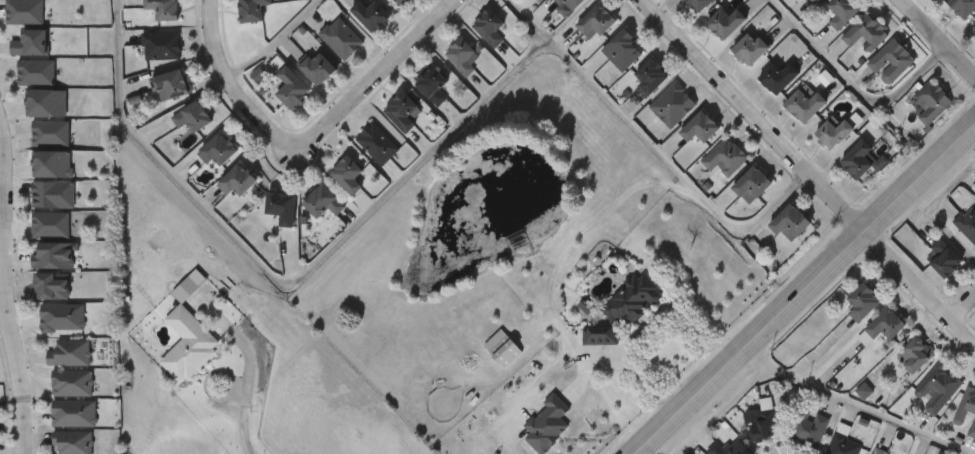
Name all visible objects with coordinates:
building: (401, 1)
building: (654, 1)
building: (811, 1)
building: (143, 2)
building: (526, 3)
building: (107, 4)
building: (702, 4)
building: (570, 5)
building: (961, 7)
building: (164, 9)
building: (252, 9)
building: (22, 10)
building: (842, 11)
building: (371, 13)
building: (683, 14)
building: (552, 15)
building: (235, 22)
building: (598, 22)
building: (727, 22)
building: (145, 23)
building: (491, 26)
building: (12, 28)
building: (864, 31)
building: (973, 35)
road: (936, 36)
building: (340, 37)
road: (269, 39)
building: (578, 39)
building: (707, 40)
building: (32, 44)
building: (160, 44)
building: (471, 44)
building: (752, 48)
building: (624, 50)
building: (462, 54)
building: (16, 59)
building: (890, 59)
building: (143, 62)
building: (318, 66)
building: (733, 66)
building: (603, 67)
building: (37, 73)
building: (443, 73)
building: (777, 76)
building: (651, 78)
road: (373, 79)
building: (170, 83)
road: (852, 83)
building: (434, 84)
building: (293, 87)
building: (18, 89)
road: (229, 89)
building: (631, 95)
building: (754, 95)
building: (930, 100)
building: (154, 101)
building: (414, 102)
building: (804, 103)
building: (48, 104)
building: (673, 105)
building: (274, 106)
building: (403, 110)
building: (191, 116)
building: (28, 119)
building: (654, 122)
building: (702, 127)
building: (384, 128)
building: (833, 131)
building: (175, 133)
building: (51, 134)
building: (377, 142)
building: (682, 144)
road: (655, 145)
building: (217, 149)
building: (33, 150)
building: (726, 158)
building: (861, 159)
building: (359, 160)
building: (53, 165)
building: (200, 166)
building: (349, 173)
road: (808, 173)
building: (706, 174)
building: (237, 179)
building: (34, 180)
building: (753, 185)
building: (54, 196)
building: (219, 197)
building: (324, 200)
building: (728, 201)
building: (282, 206)
road: (936, 208)
building: (35, 211)
building: (304, 218)
building: (792, 221)
building: (265, 224)
building: (966, 225)
building: (51, 226)
building: (33, 241)
building: (54, 257)
building: (940, 259)
building: (37, 272)
road: (291, 274)
road: (7, 287)
building: (53, 287)
road: (807, 289)
building: (34, 302)
building: (858, 302)
road: (963, 310)
road: (4, 317)
building: (63, 318)
building: (880, 325)
building: (607, 327)
road: (641, 331)
building: (44, 333)
building: (69, 354)
building: (911, 354)
building: (170, 360)
building: (483, 364)
building: (52, 369)
building: (71, 384)
building: (936, 389)
road: (250, 396)
building: (54, 399)
road: (852, 405)
road: (720, 409)
building: (966, 410)
building: (73, 414)
building: (761, 422)
building: (807, 428)
building: (56, 429)
building: (840, 441)
building: (73, 442)
building: (725, 448)
building: (54, 450)
building: (875, 451)

